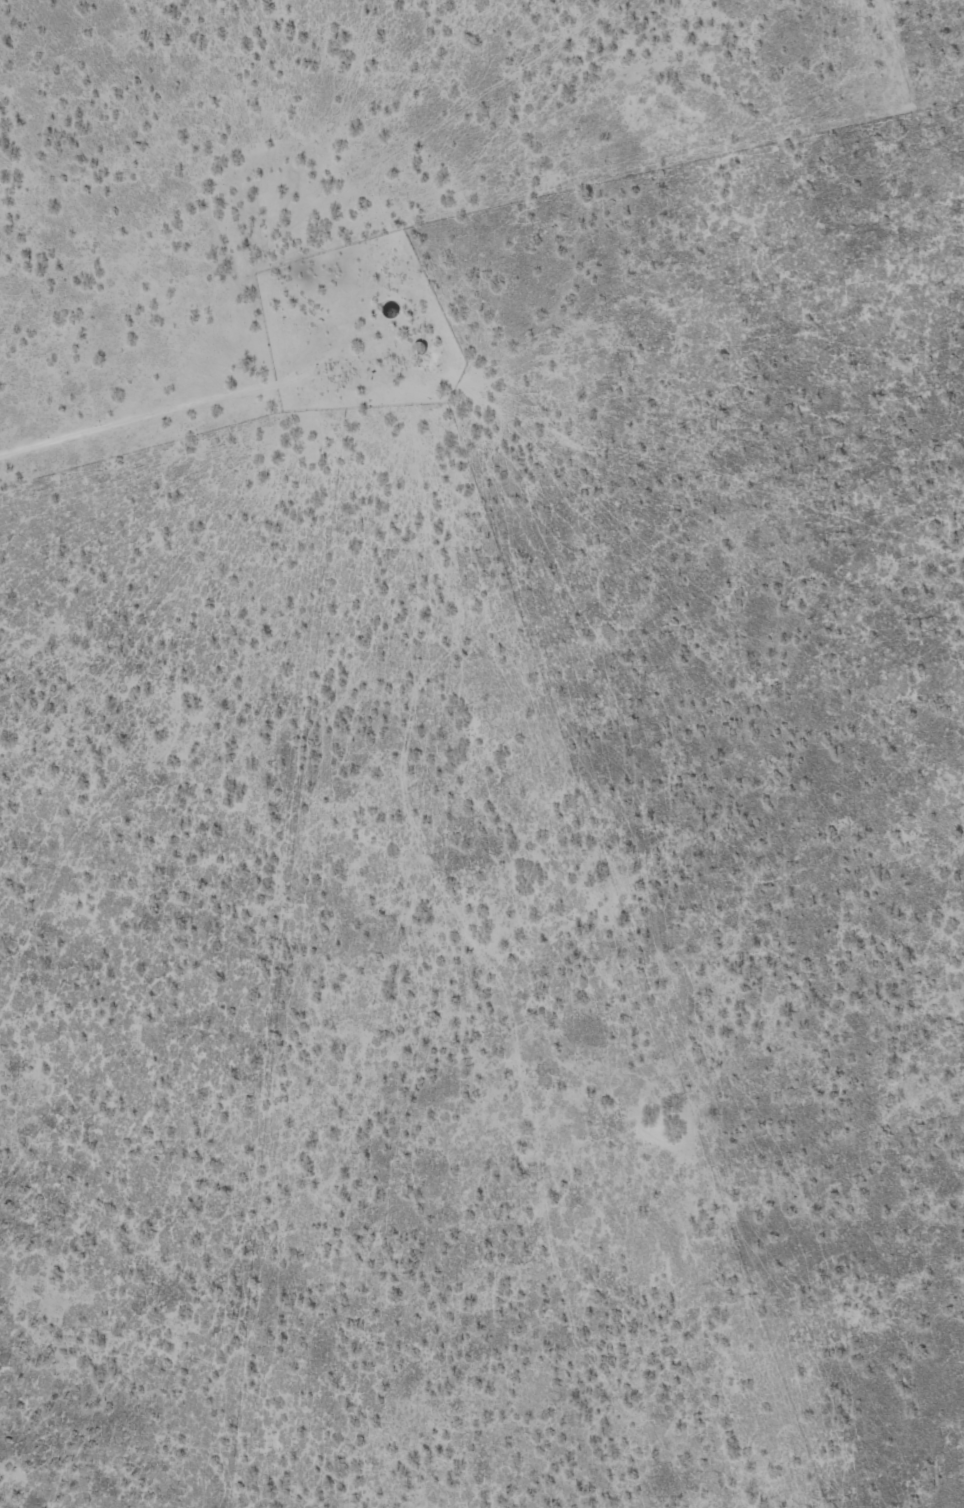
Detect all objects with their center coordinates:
road: (176, 429)

